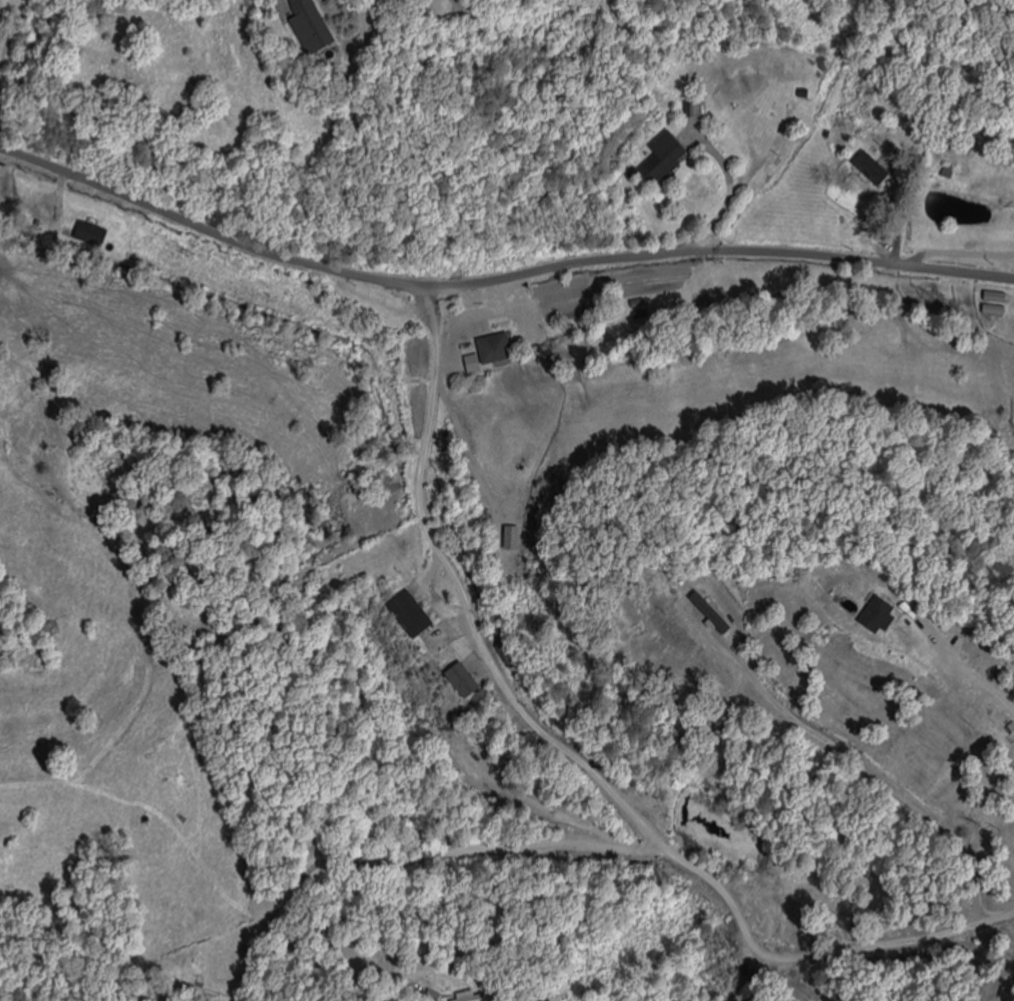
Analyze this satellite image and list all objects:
building: (311, 26)
building: (694, 110)
building: (665, 159)
building: (872, 171)
building: (1012, 219)
building: (92, 236)
road: (499, 281)
building: (495, 350)
building: (416, 618)
building: (443, 641)
building: (463, 682)
building: (1010, 726)
road: (576, 762)
road: (464, 853)

